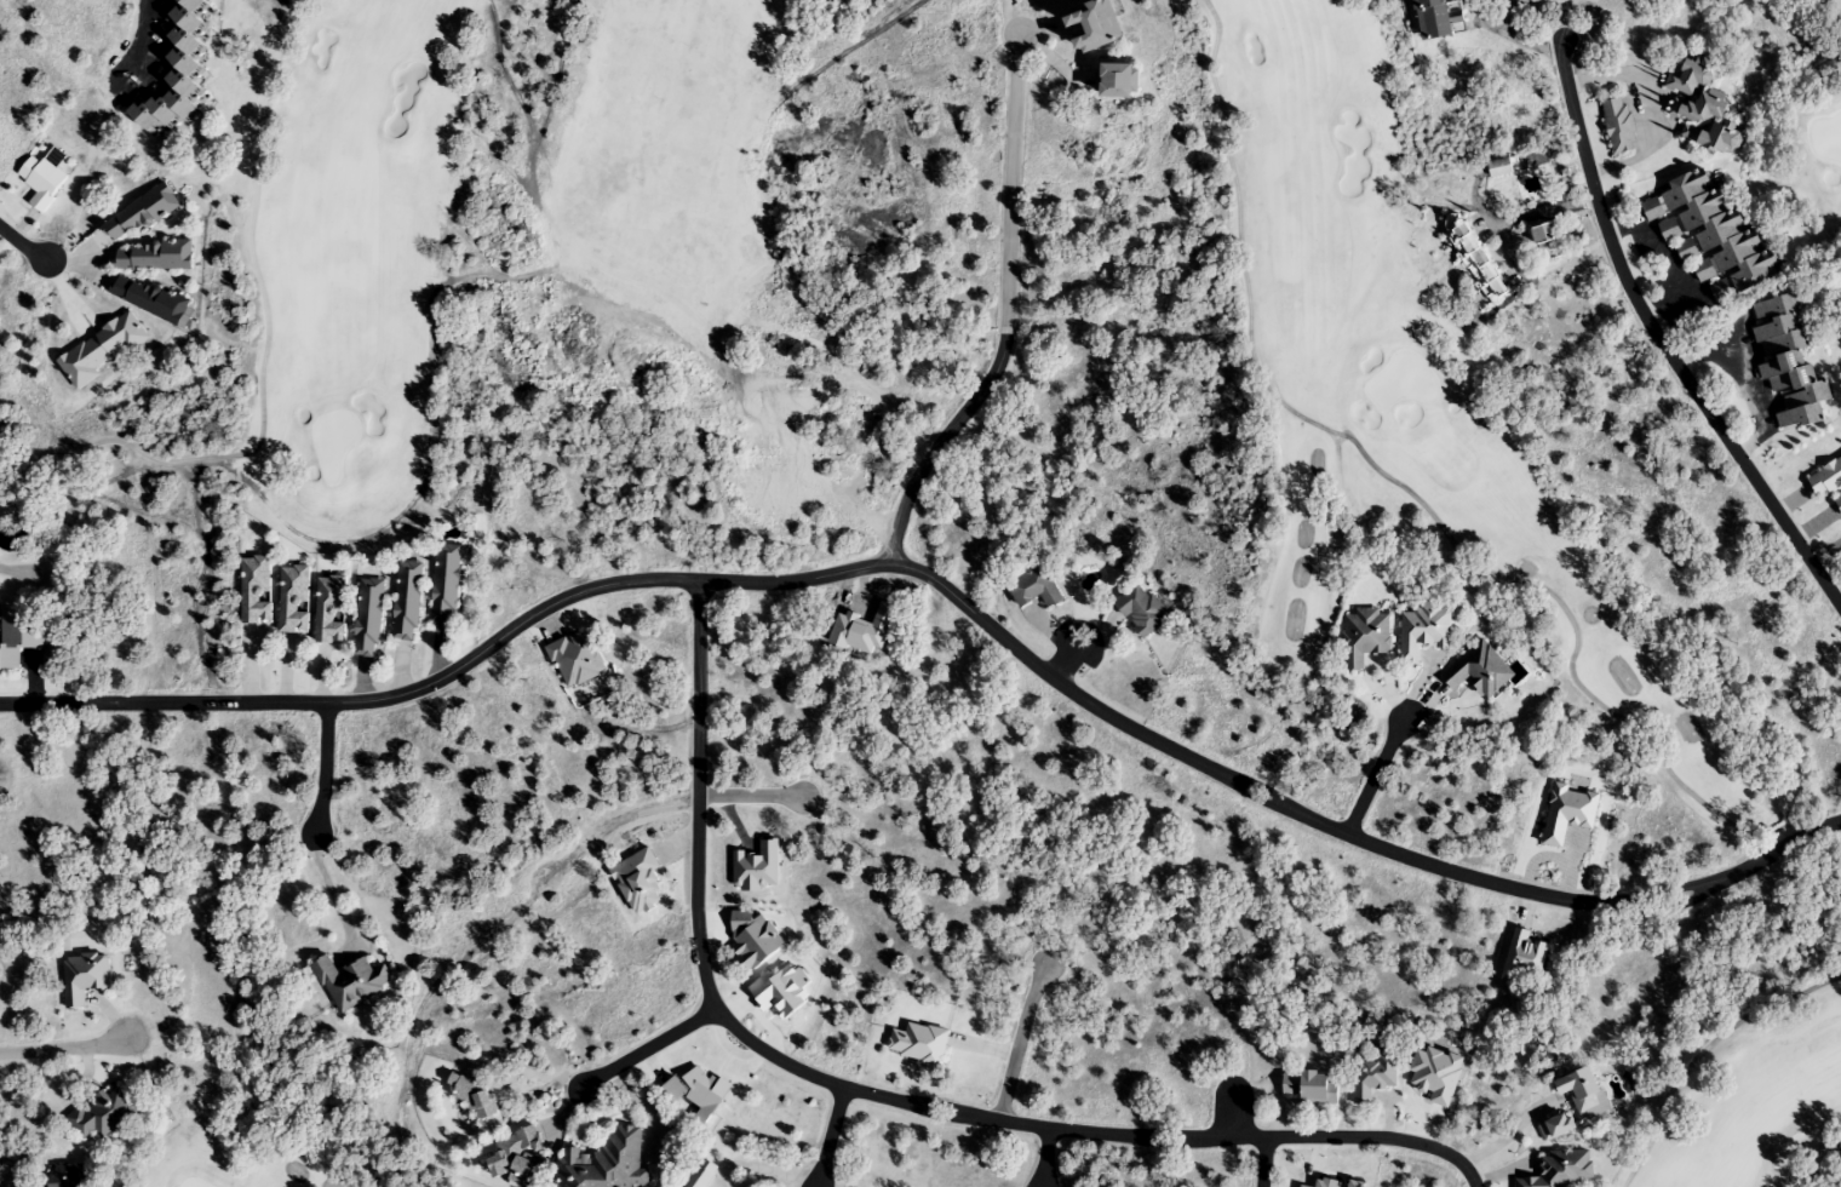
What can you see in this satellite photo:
building: (1439, 18)
building: (1090, 28)
building: (172, 74)
building: (1114, 84)
building: (1702, 108)
building: (1618, 126)
park: (1813, 143)
building: (41, 182)
building: (139, 214)
building: (1544, 233)
building: (1710, 235)
road: (22, 245)
building: (153, 256)
building: (1473, 256)
park: (493, 268)
building: (149, 298)
road: (1008, 317)
road: (1658, 342)
building: (1786, 360)
building: (1825, 478)
building: (1837, 501)
park: (1498, 555)
building: (445, 583)
building: (1034, 587)
building: (254, 590)
road: (951, 591)
building: (292, 597)
building: (406, 601)
building: (329, 609)
building: (1141, 610)
building: (367, 617)
building: (1422, 631)
building: (1365, 636)
building: (31, 637)
building: (1479, 670)
road: (325, 768)
road: (1375, 774)
road: (663, 804)
building: (1524, 957)
building: (84, 976)
building: (350, 981)
road: (1019, 1042)
road: (65, 1048)
road: (649, 1048)
building: (1372, 1077)
building: (1311, 1086)
building: (1583, 1093)
road: (879, 1097)
road: (1232, 1111)
building: (103, 1114)
building: (1558, 1125)
road: (831, 1137)
park: (310, 1154)
road: (1044, 1157)
building: (517, 1158)
road: (1262, 1162)
building: (606, 1163)
building: (1560, 1170)
building: (701, 1174)
building: (65, 1176)

